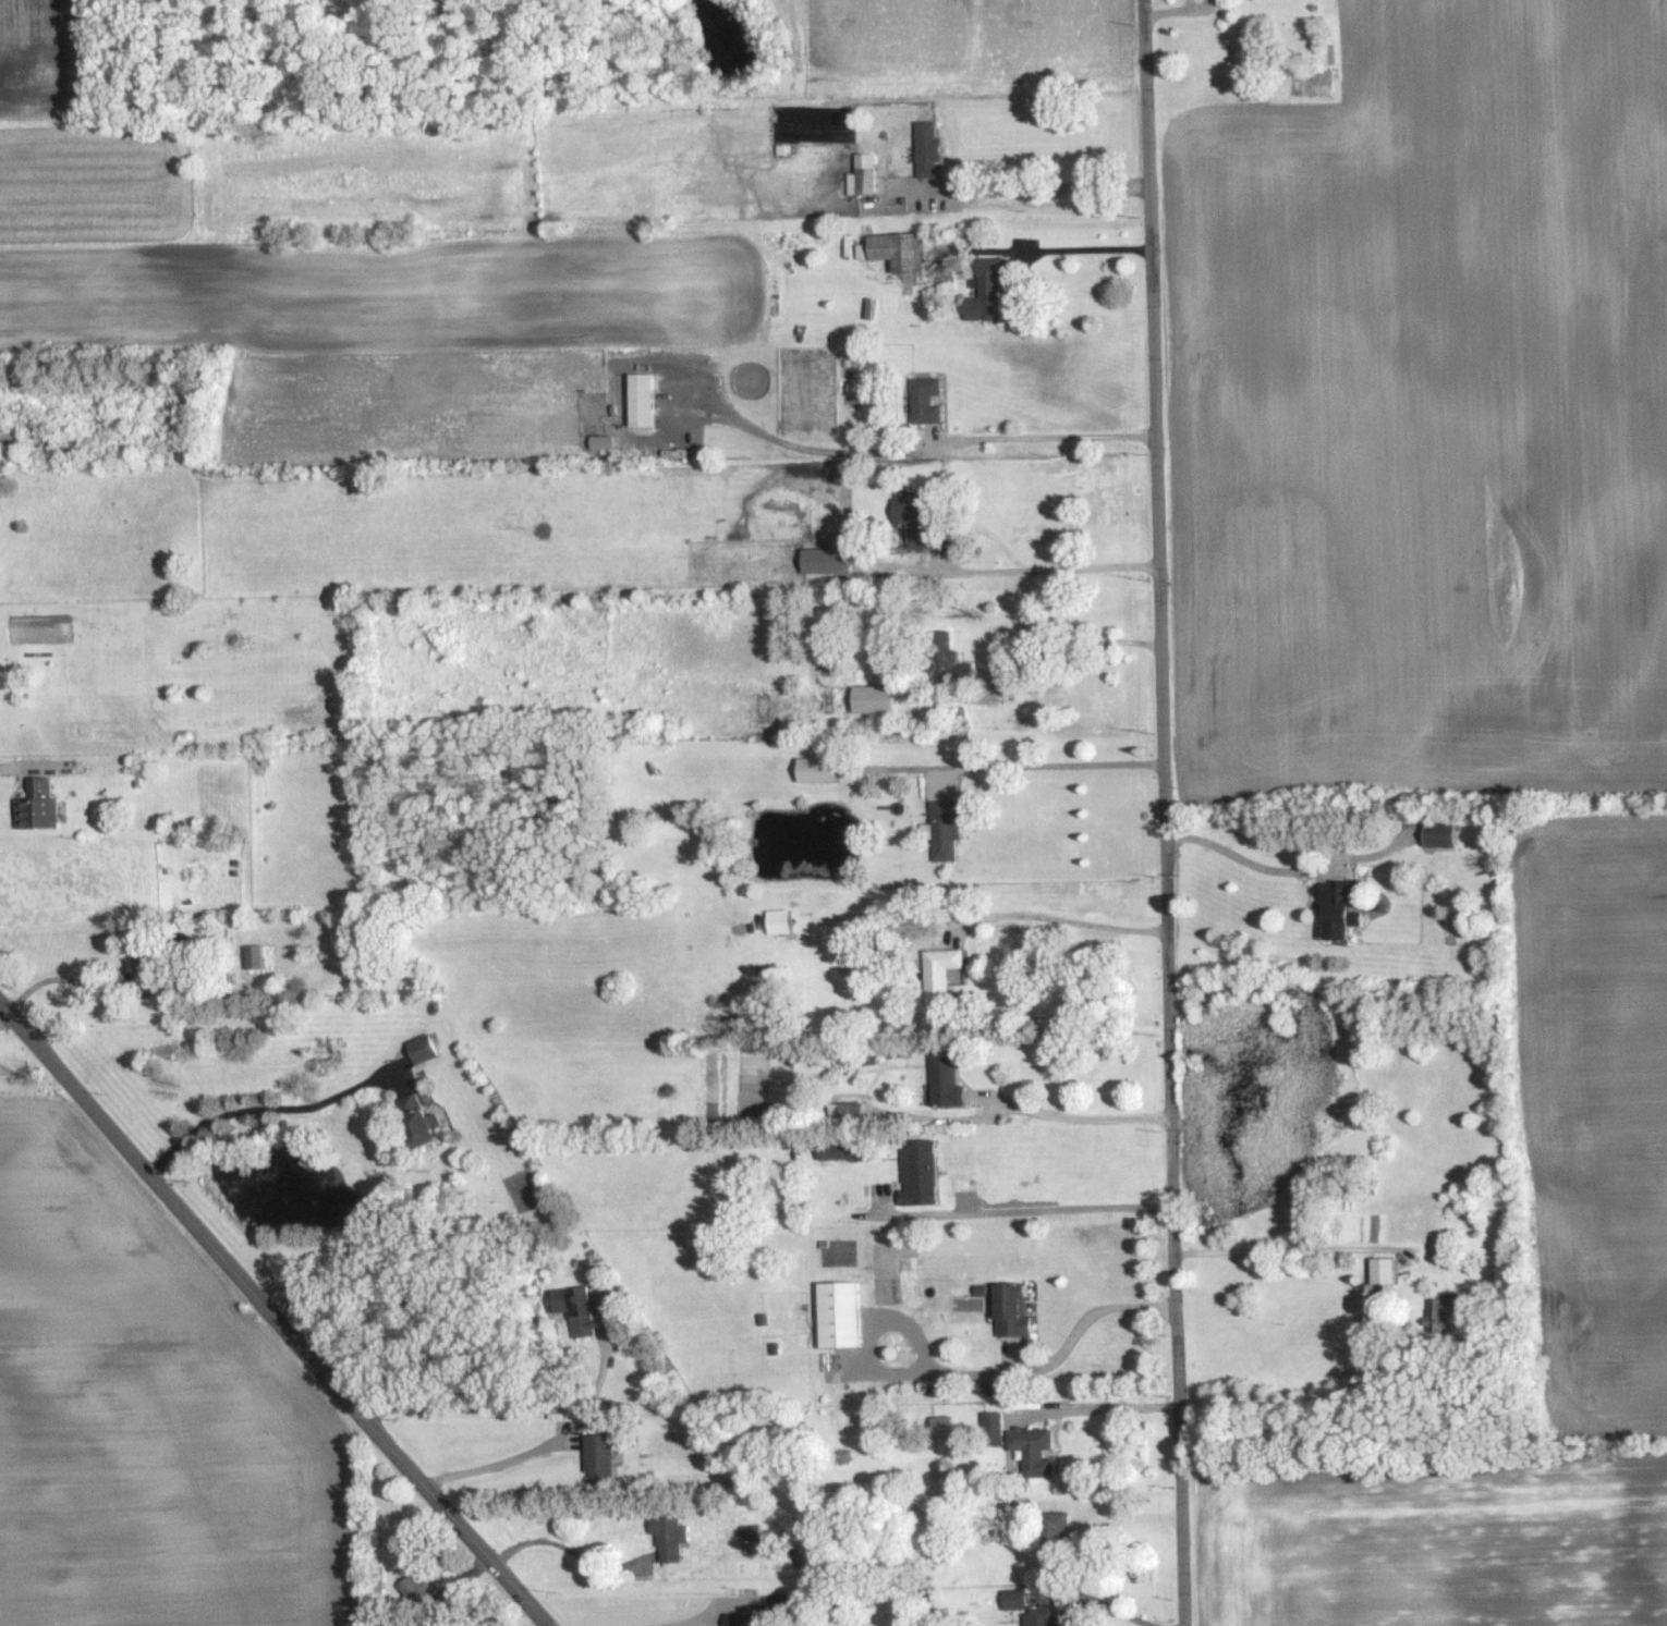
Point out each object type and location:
building: (929, 149)
building: (865, 175)
road: (1023, 186)
road: (1070, 248)
building: (897, 250)
building: (989, 290)
building: (927, 400)
building: (646, 401)
building: (606, 443)
road: (937, 445)
building: (922, 522)
building: (830, 561)
road: (1038, 571)
road: (1069, 647)
building: (877, 698)
road: (19, 768)
road: (1055, 768)
building: (822, 769)
building: (38, 805)
road: (1164, 812)
building: (947, 829)
building: (1444, 834)
road: (1232, 854)
building: (1342, 908)
building: (782, 921)
road: (1058, 924)
building: (255, 956)
building: (144, 961)
building: (945, 971)
road: (60, 974)
building: (425, 1048)
building: (948, 1079)
road: (261, 1111)
road: (1078, 1122)
building: (845, 1150)
building: (923, 1173)
road: (1034, 1211)
road: (1290, 1250)
building: (1386, 1271)
building: (1018, 1309)
building: (584, 1312)
building: (1446, 1312)
building: (843, 1315)
road: (272, 1316)
road: (972, 1371)
road: (1116, 1407)
road: (503, 1411)
building: (994, 1421)
building: (946, 1426)
building: (1035, 1450)
road: (491, 1466)
road: (1120, 1511)
building: (755, 1536)
building: (672, 1537)
road: (562, 1550)
building: (418, 1589)
building: (1019, 1599)
road: (1097, 1600)
building: (1045, 1615)
building: (749, 1619)
road: (691, 1622)

